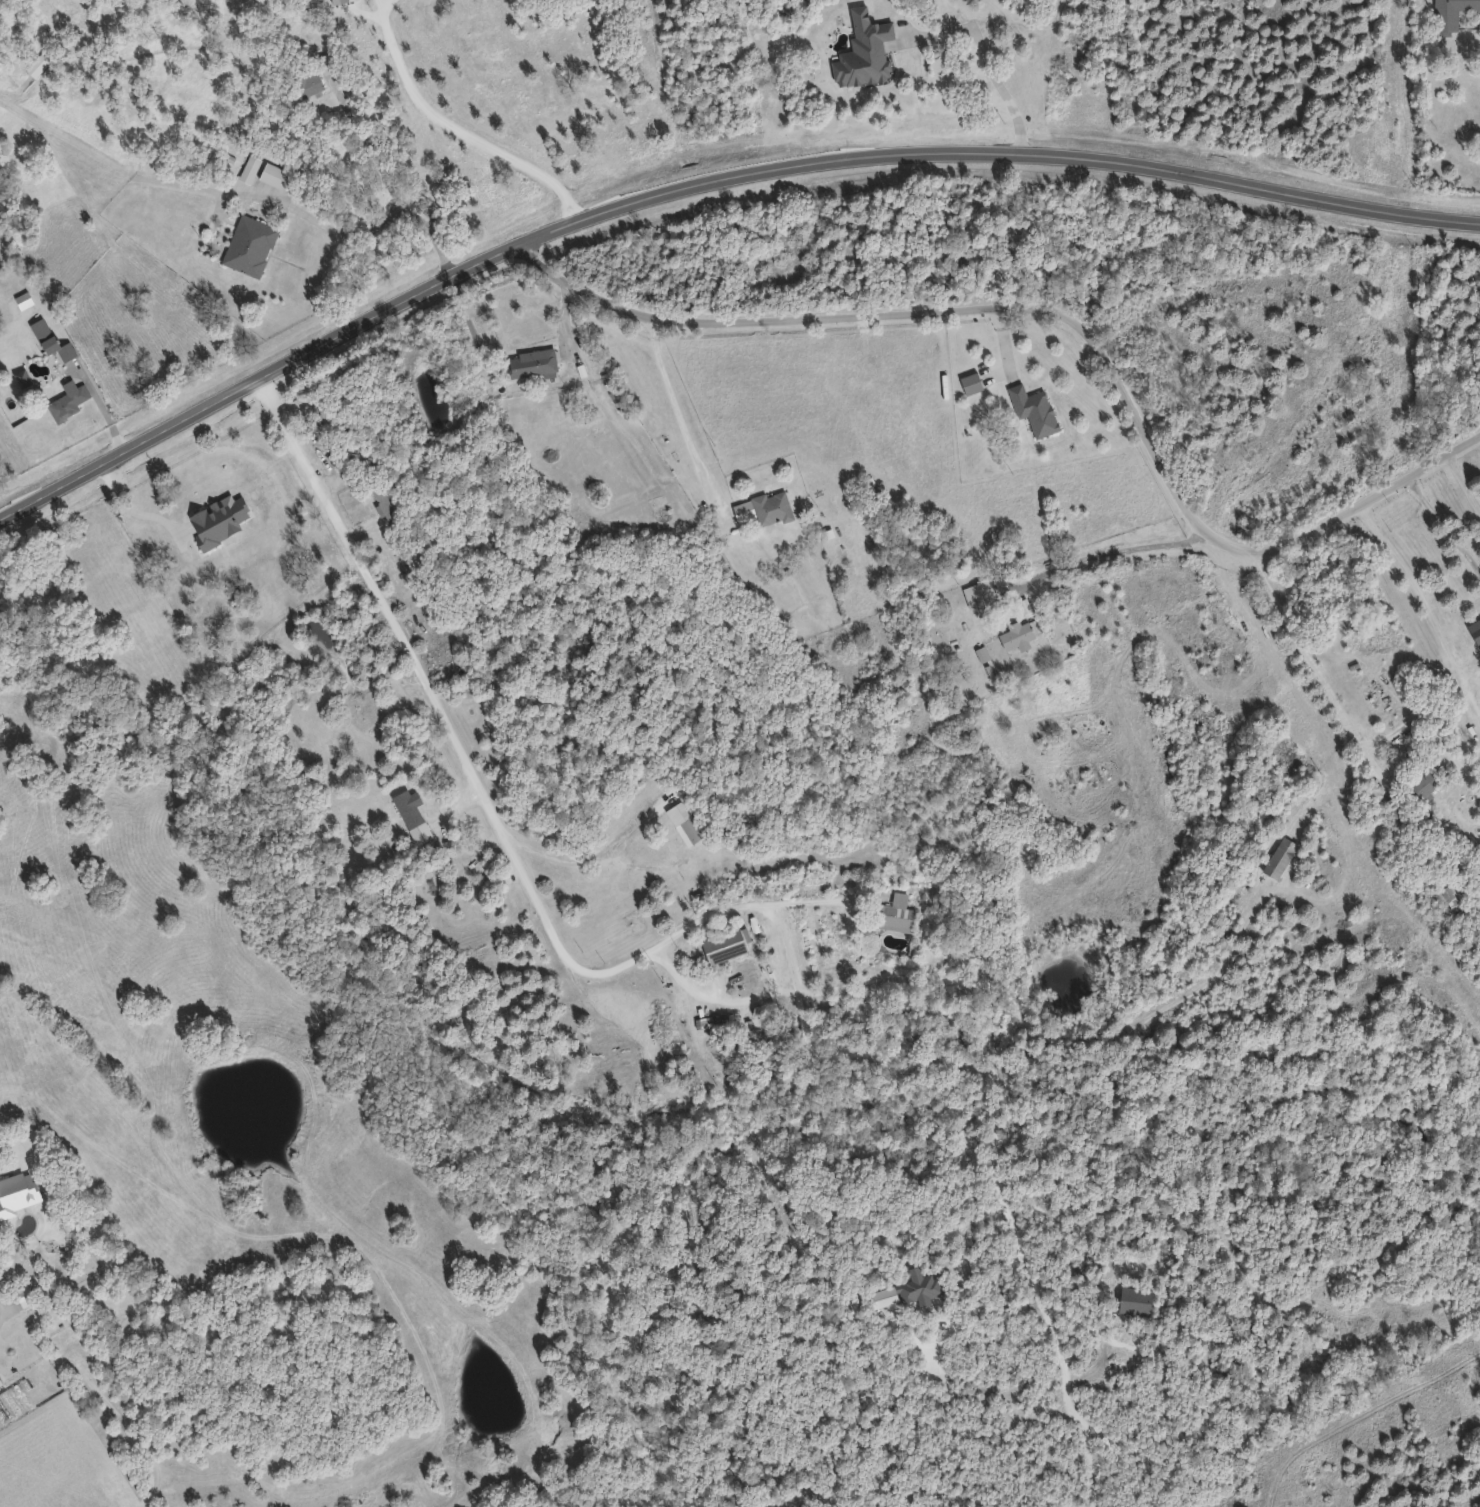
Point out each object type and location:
building: (1452, 12)
building: (865, 50)
road: (993, 59)
building: (38, 64)
building: (309, 81)
road: (459, 130)
building: (250, 167)
building: (276, 175)
road: (704, 180)
road: (387, 181)
road: (307, 215)
building: (249, 244)
road: (1030, 274)
road: (695, 299)
road: (1061, 314)
building: (52, 339)
building: (533, 363)
building: (68, 400)
road: (103, 407)
road: (682, 408)
building: (1035, 408)
building: (324, 411)
road: (1165, 431)
road: (1465, 481)
building: (383, 500)
building: (145, 506)
building: (772, 507)
road: (134, 510)
road: (1447, 523)
building: (215, 532)
road: (1121, 545)
road: (540, 620)
building: (1018, 635)
road: (1319, 658)
building: (1425, 784)
road: (484, 800)
building: (1397, 805)
building: (413, 816)
building: (1452, 898)
building: (897, 914)
building: (725, 945)
road: (1011, 985)
building: (18, 1193)
building: (25, 1295)
building: (1, 1383)

